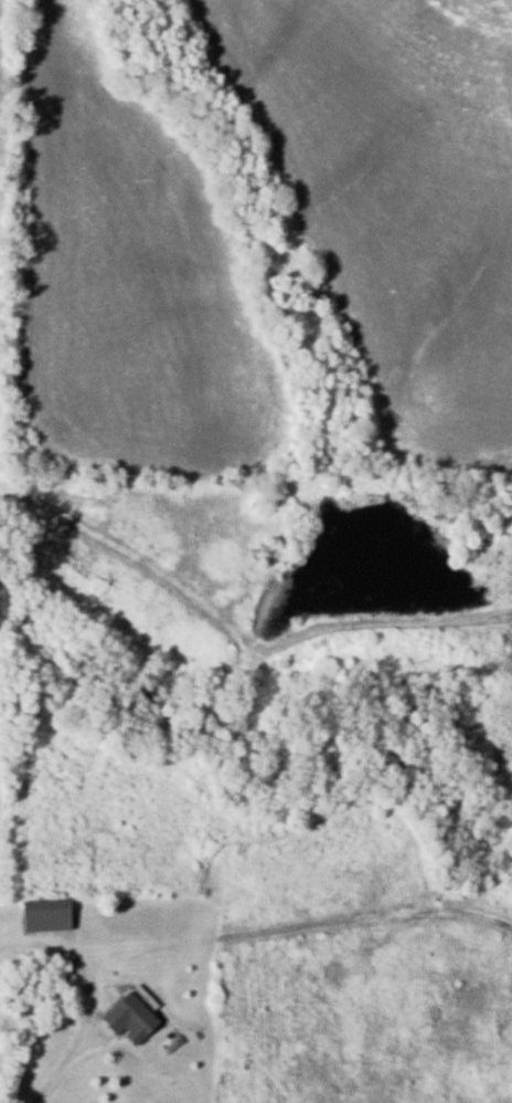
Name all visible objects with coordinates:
building: (41, 914)
building: (127, 1017)

